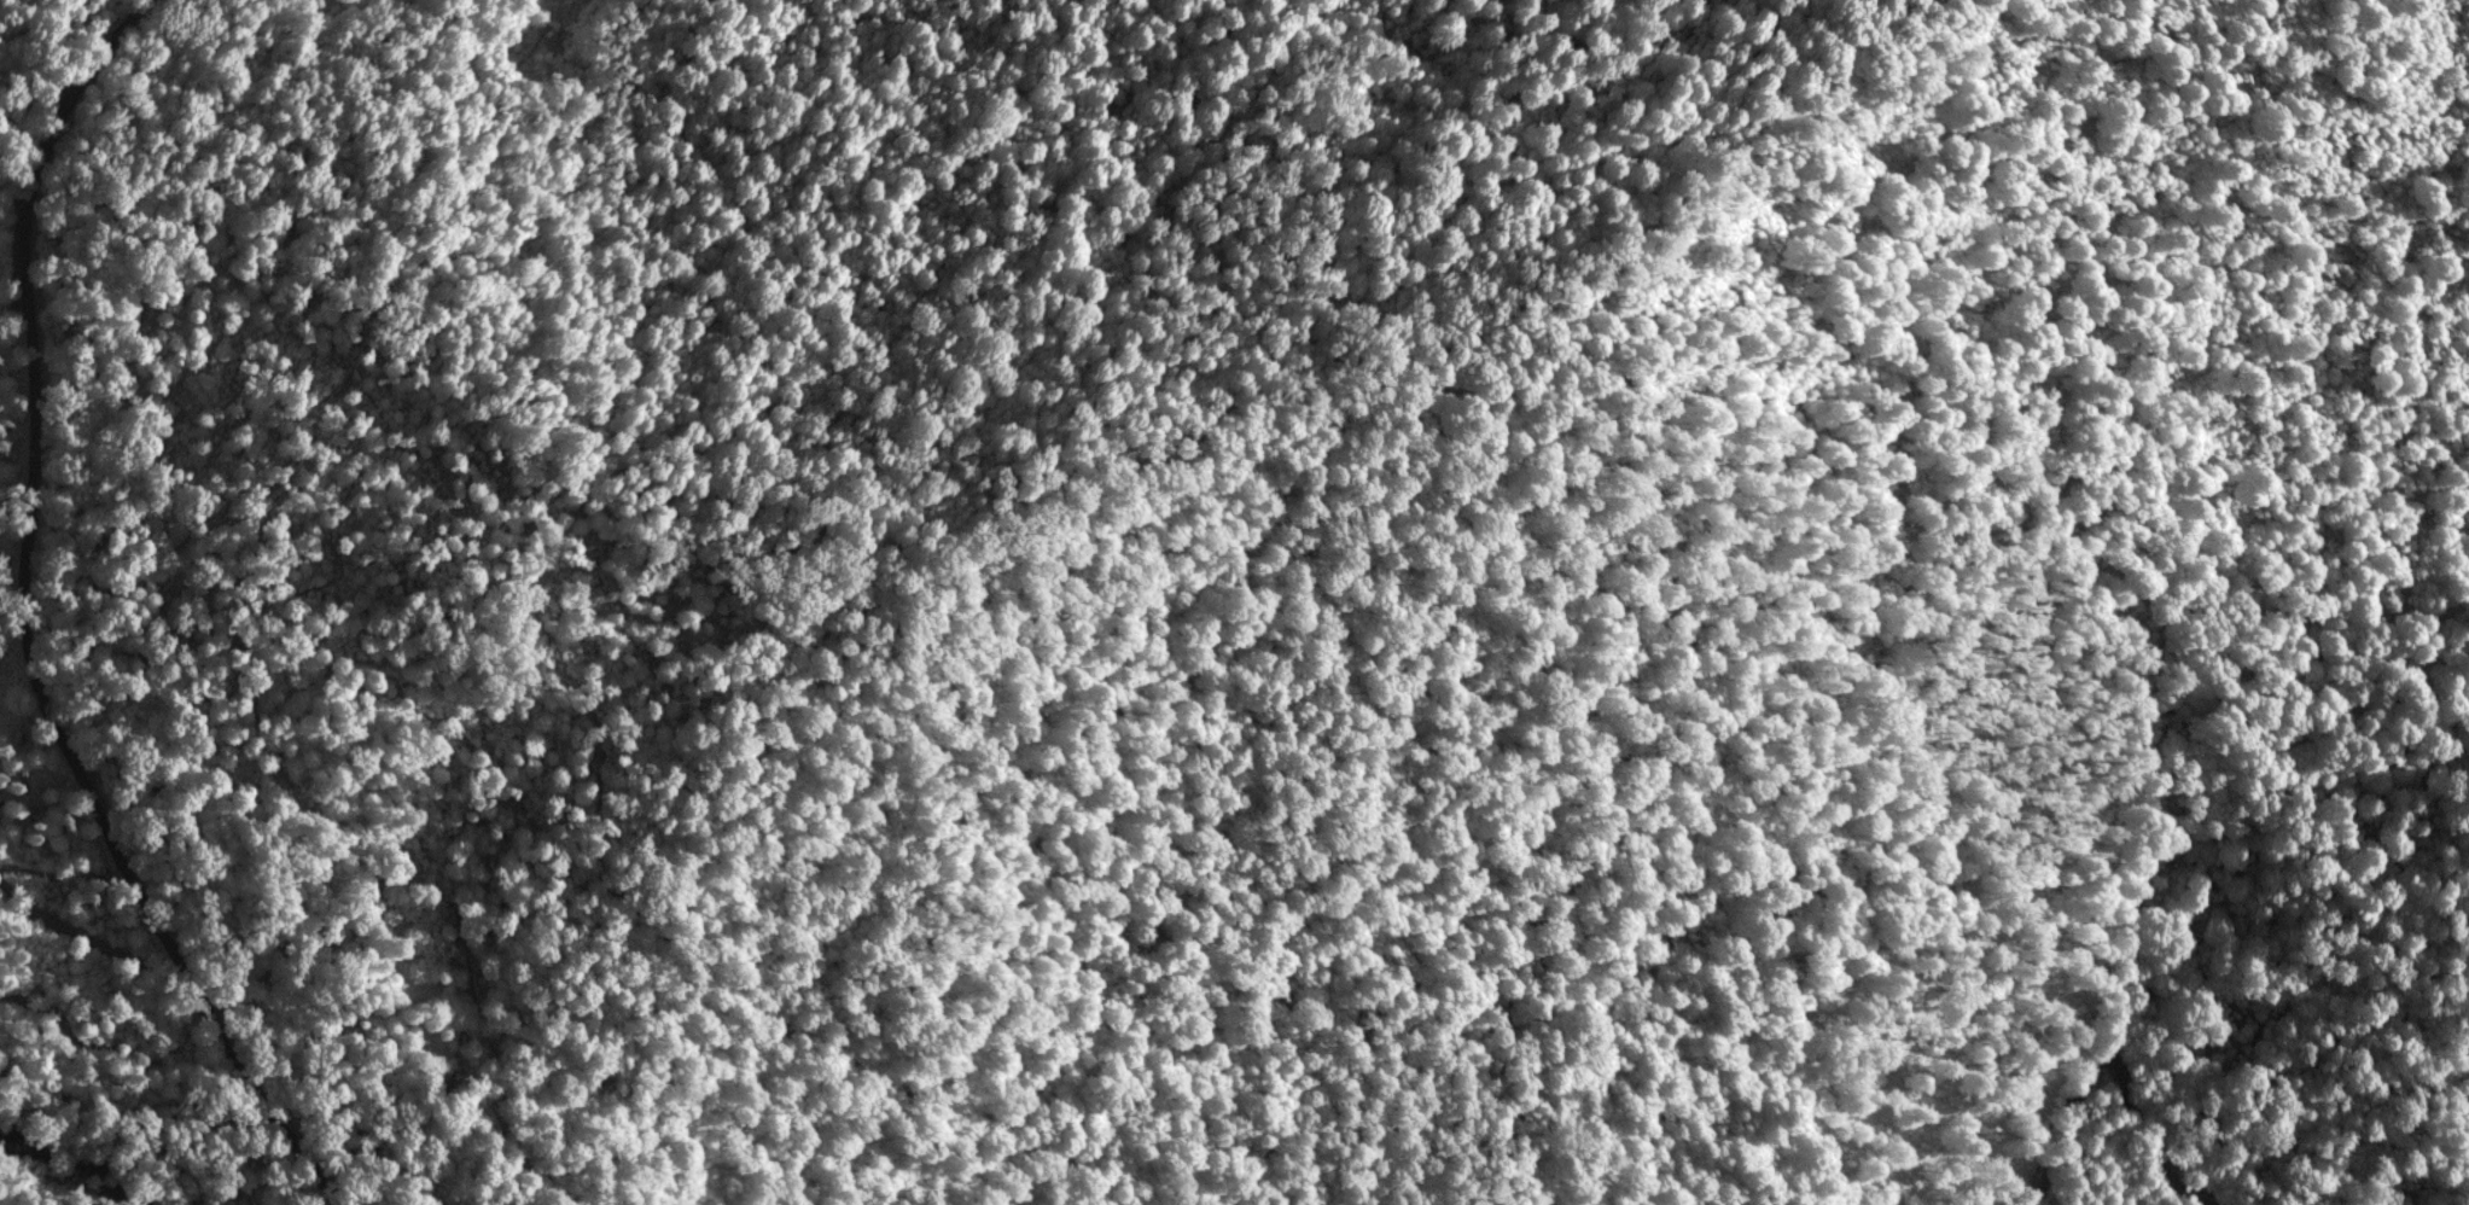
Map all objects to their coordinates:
road: (23, 223)
road: (147, 884)
road: (1968, 1192)

